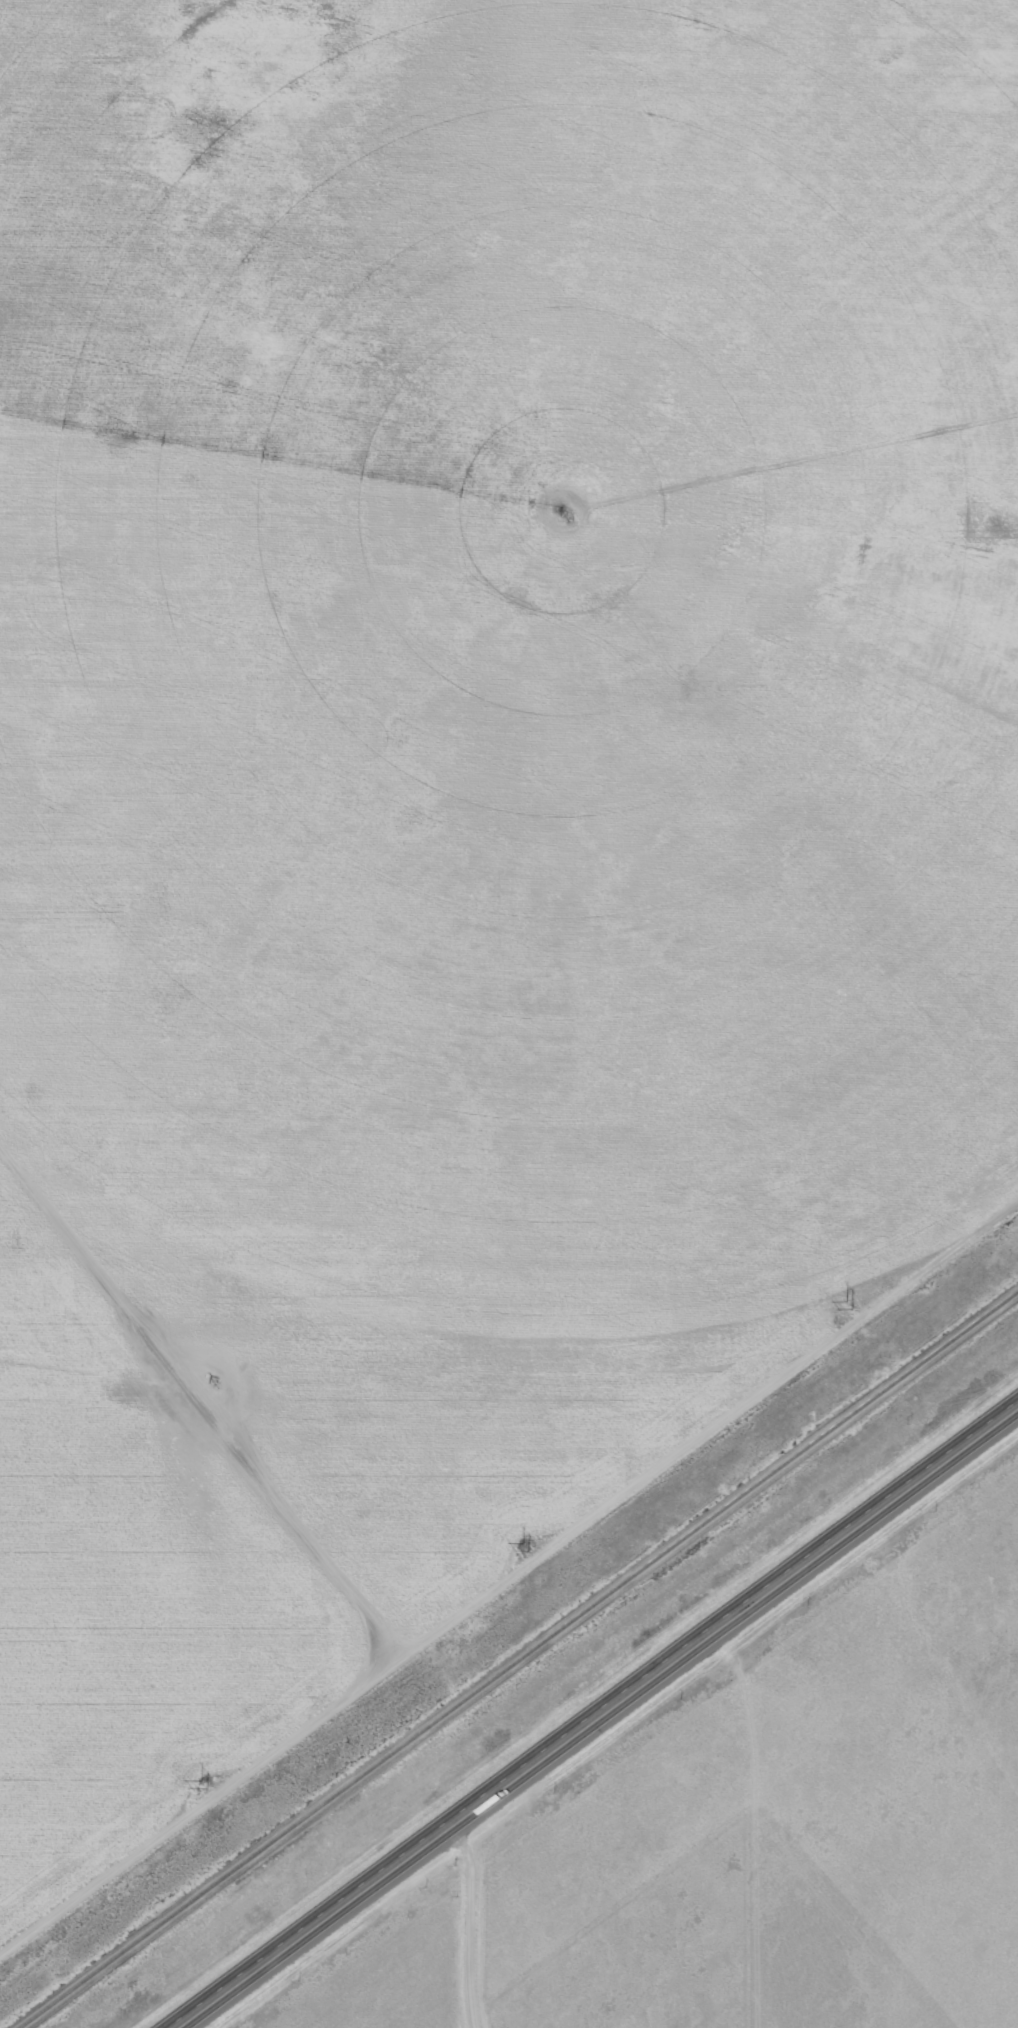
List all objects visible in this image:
power tower: (847, 1302)
power tower: (526, 1547)
railway: (524, 1662)
road: (596, 1716)
power tower: (203, 1783)

